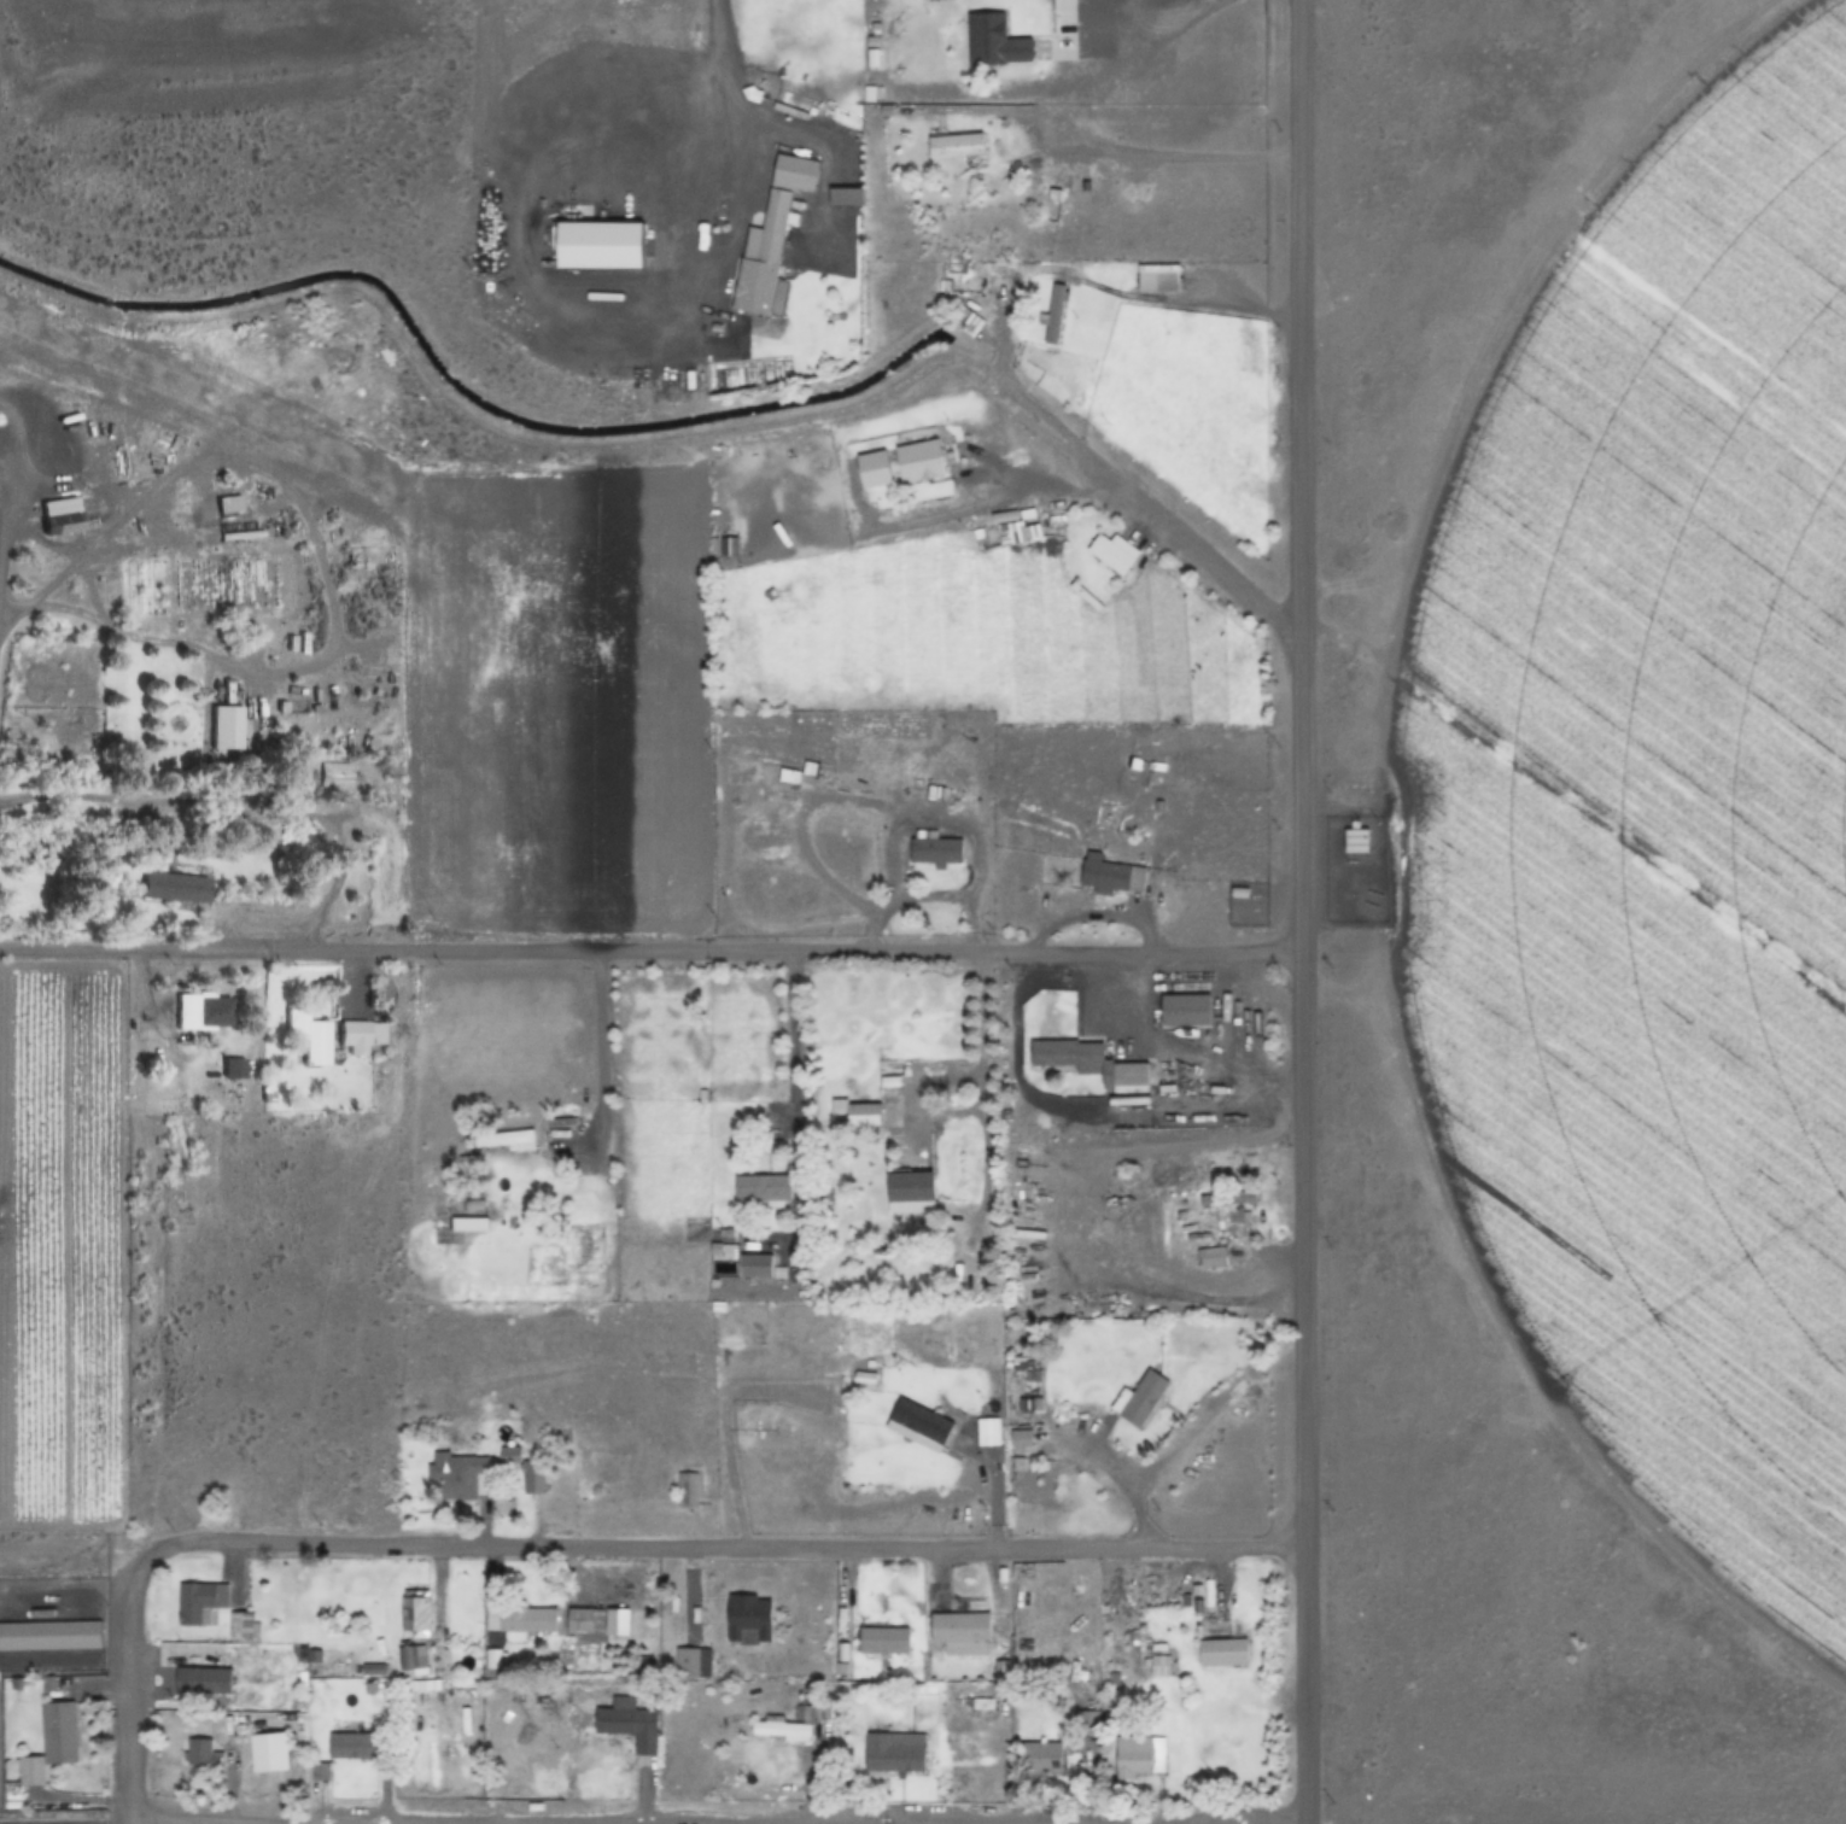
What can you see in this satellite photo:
building: (993, 41)
road: (718, 119)
building: (954, 146)
building: (845, 198)
building: (770, 240)
building: (595, 241)
building: (1157, 276)
road: (1219, 308)
building: (1053, 312)
building: (918, 462)
building: (227, 504)
building: (59, 524)
road: (1157, 527)
building: (1018, 536)
building: (1112, 554)
building: (224, 727)
building: (333, 776)
building: (788, 777)
building: (1355, 841)
building: (935, 849)
building: (1118, 879)
building: (174, 888)
road: (1301, 911)
road: (650, 951)
building: (1184, 1010)
building: (201, 1012)
building: (305, 1036)
building: (357, 1036)
road: (601, 1043)
road: (986, 1051)
road: (800, 1059)
building: (1087, 1064)
building: (854, 1115)
building: (504, 1141)
building: (761, 1188)
building: (910, 1189)
building: (473, 1206)
building: (1234, 1222)
building: (1210, 1257)
building: (743, 1264)
building: (1139, 1397)
building: (918, 1423)
building: (524, 1469)
building: (458, 1477)
building: (685, 1489)
road: (724, 1541)
building: (198, 1602)
building: (448, 1604)
building: (413, 1609)
building: (747, 1618)
building: (519, 1619)
building: (596, 1621)
building: (958, 1627)
building: (241, 1629)
building: (889, 1649)
building: (1222, 1653)
building: (405, 1658)
building: (491, 1658)
building: (246, 1660)
building: (690, 1662)
building: (1158, 1665)
building: (198, 1676)
road: (127, 1680)
building: (636, 1726)
building: (45, 1737)
building: (351, 1746)
building: (197, 1752)
building: (268, 1753)
building: (895, 1754)
building: (1040, 1756)
building: (1139, 1756)
road: (714, 1818)
building: (41, 1823)

